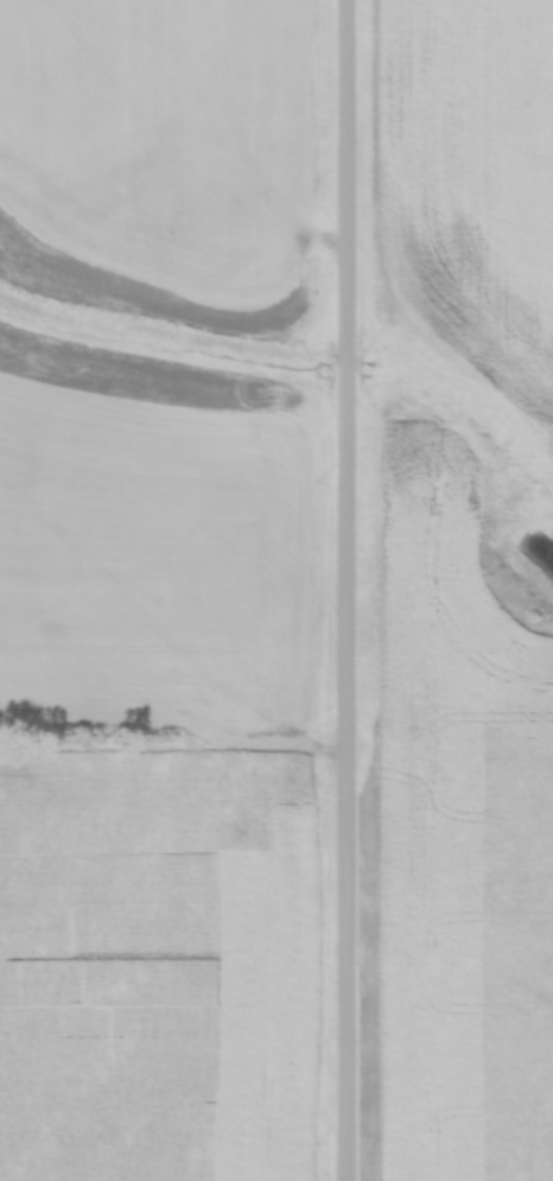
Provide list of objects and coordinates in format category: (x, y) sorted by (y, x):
road: (351, 590)

